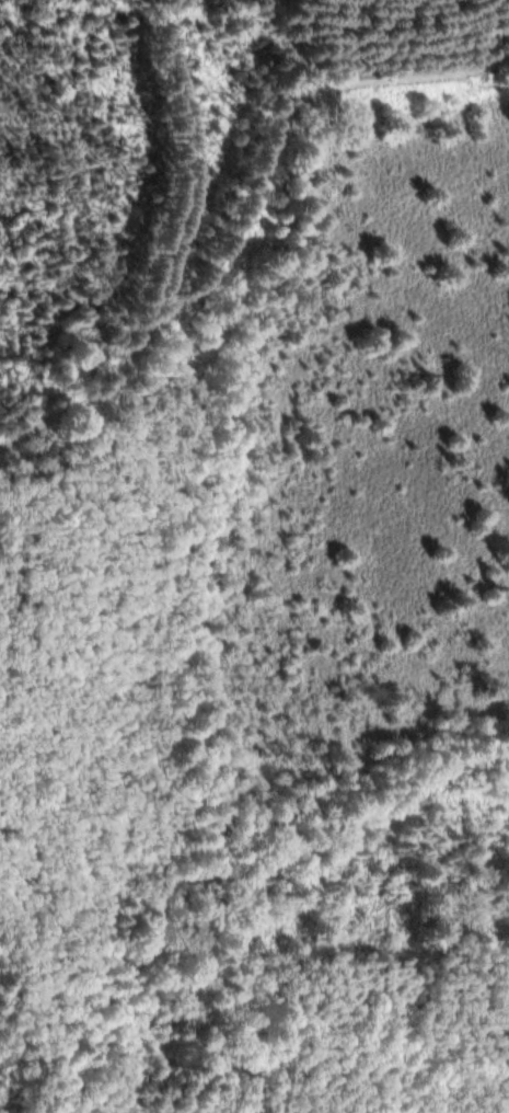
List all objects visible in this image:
road: (246, 217)

